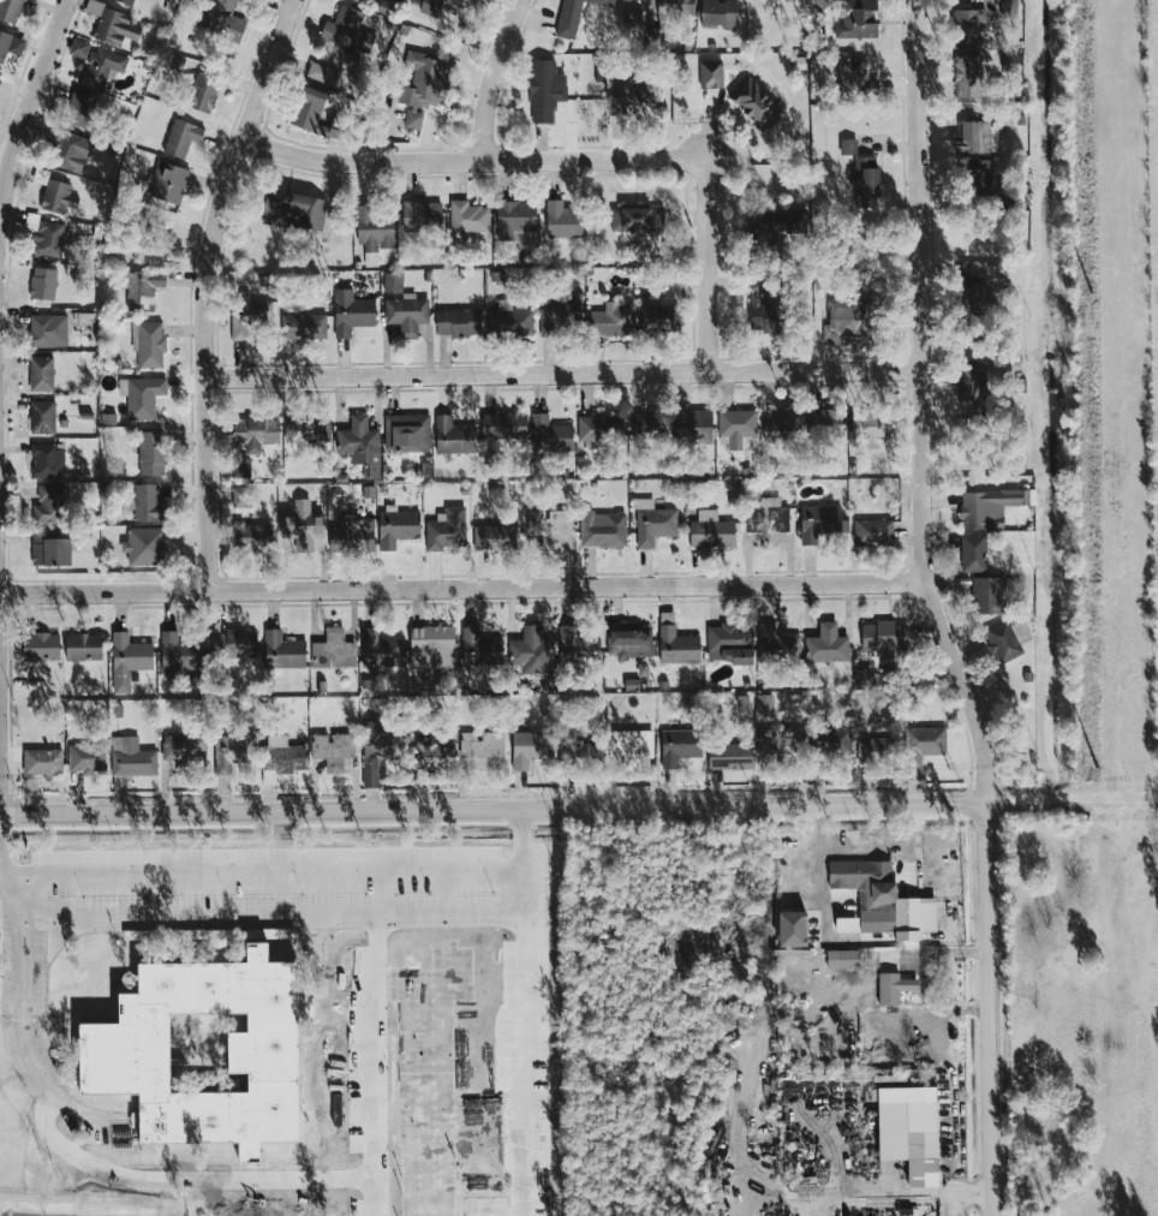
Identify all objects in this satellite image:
building: (820, 4)
building: (225, 5)
building: (436, 6)
building: (1009, 6)
building: (676, 7)
building: (10, 10)
building: (720, 13)
building: (574, 16)
building: (632, 19)
building: (858, 19)
building: (225, 25)
building: (968, 25)
building: (347, 30)
building: (10, 44)
building: (78, 48)
building: (101, 66)
building: (333, 70)
building: (710, 74)
building: (967, 77)
road: (490, 78)
building: (854, 78)
building: (428, 79)
building: (544, 90)
road: (29, 91)
building: (204, 93)
building: (631, 95)
building: (754, 103)
building: (80, 107)
building: (308, 108)
building: (414, 119)
building: (181, 137)
building: (848, 147)
building: (72, 151)
road: (474, 162)
building: (979, 172)
building: (866, 181)
building: (169, 183)
building: (59, 197)
building: (294, 210)
building: (422, 216)
building: (468, 217)
building: (515, 219)
building: (637, 219)
building: (563, 220)
building: (375, 228)
building: (46, 236)
road: (708, 263)
building: (393, 282)
building: (43, 284)
road: (208, 287)
building: (143, 288)
road: (917, 291)
building: (968, 292)
power tower: (1092, 293)
building: (762, 309)
building: (352, 312)
building: (407, 314)
building: (560, 316)
building: (250, 317)
building: (655, 318)
building: (509, 320)
building: (613, 320)
building: (847, 320)
building: (459, 322)
building: (304, 327)
building: (48, 330)
building: (149, 344)
road: (563, 368)
building: (41, 374)
building: (974, 386)
building: (142, 395)
building: (42, 417)
building: (824, 423)
building: (873, 424)
building: (505, 425)
building: (647, 425)
building: (693, 425)
building: (598, 427)
building: (736, 427)
building: (783, 427)
building: (306, 430)
building: (253, 433)
building: (407, 433)
building: (550, 434)
building: (454, 436)
building: (360, 445)
building: (151, 453)
building: (47, 460)
building: (241, 469)
building: (239, 496)
building: (149, 503)
building: (49, 505)
building: (990, 507)
building: (768, 517)
building: (653, 523)
building: (820, 523)
building: (549, 524)
building: (303, 526)
building: (396, 526)
building: (447, 529)
building: (711, 530)
building: (604, 531)
building: (873, 532)
building: (352, 535)
building: (251, 537)
building: (496, 537)
building: (145, 547)
building: (50, 550)
building: (973, 553)
road: (462, 585)
building: (987, 595)
building: (884, 638)
building: (631, 642)
building: (1003, 642)
building: (217, 643)
building: (240, 643)
building: (676, 643)
building: (729, 643)
building: (776, 643)
building: (826, 644)
building: (571, 645)
building: (41, 646)
building: (83, 646)
building: (432, 648)
building: (479, 648)
building: (282, 650)
building: (334, 650)
building: (380, 650)
building: (531, 651)
building: (178, 655)
building: (129, 660)
building: (862, 676)
building: (764, 705)
building: (831, 741)
building: (780, 744)
building: (924, 744)
building: (482, 745)
building: (631, 745)
building: (680, 746)
building: (334, 749)
building: (529, 749)
building: (876, 750)
building: (183, 751)
building: (229, 752)
building: (376, 753)
building: (579, 753)
building: (437, 756)
building: (730, 756)
building: (86, 758)
building: (132, 758)
building: (42, 762)
power tower: (1106, 770)
road: (1072, 800)
road: (493, 807)
road: (986, 893)
building: (882, 898)
road: (25, 899)
road: (348, 914)
building: (847, 925)
building: (793, 929)
building: (846, 959)
building: (894, 988)
road: (23, 999)
building: (124, 1051)
building: (909, 1131)
road: (902, 1197)

